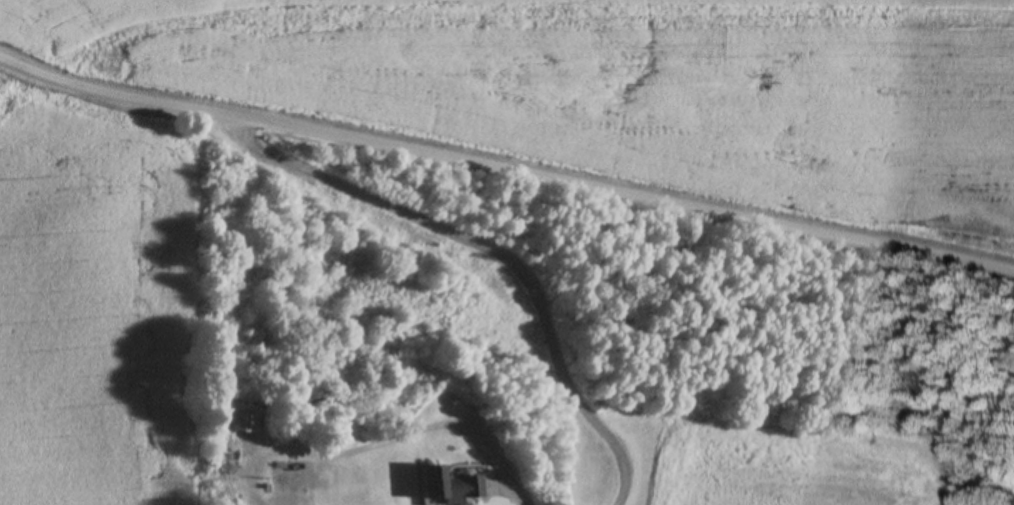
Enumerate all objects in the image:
road: (505, 163)
road: (502, 250)
building: (450, 487)
road: (509, 488)

